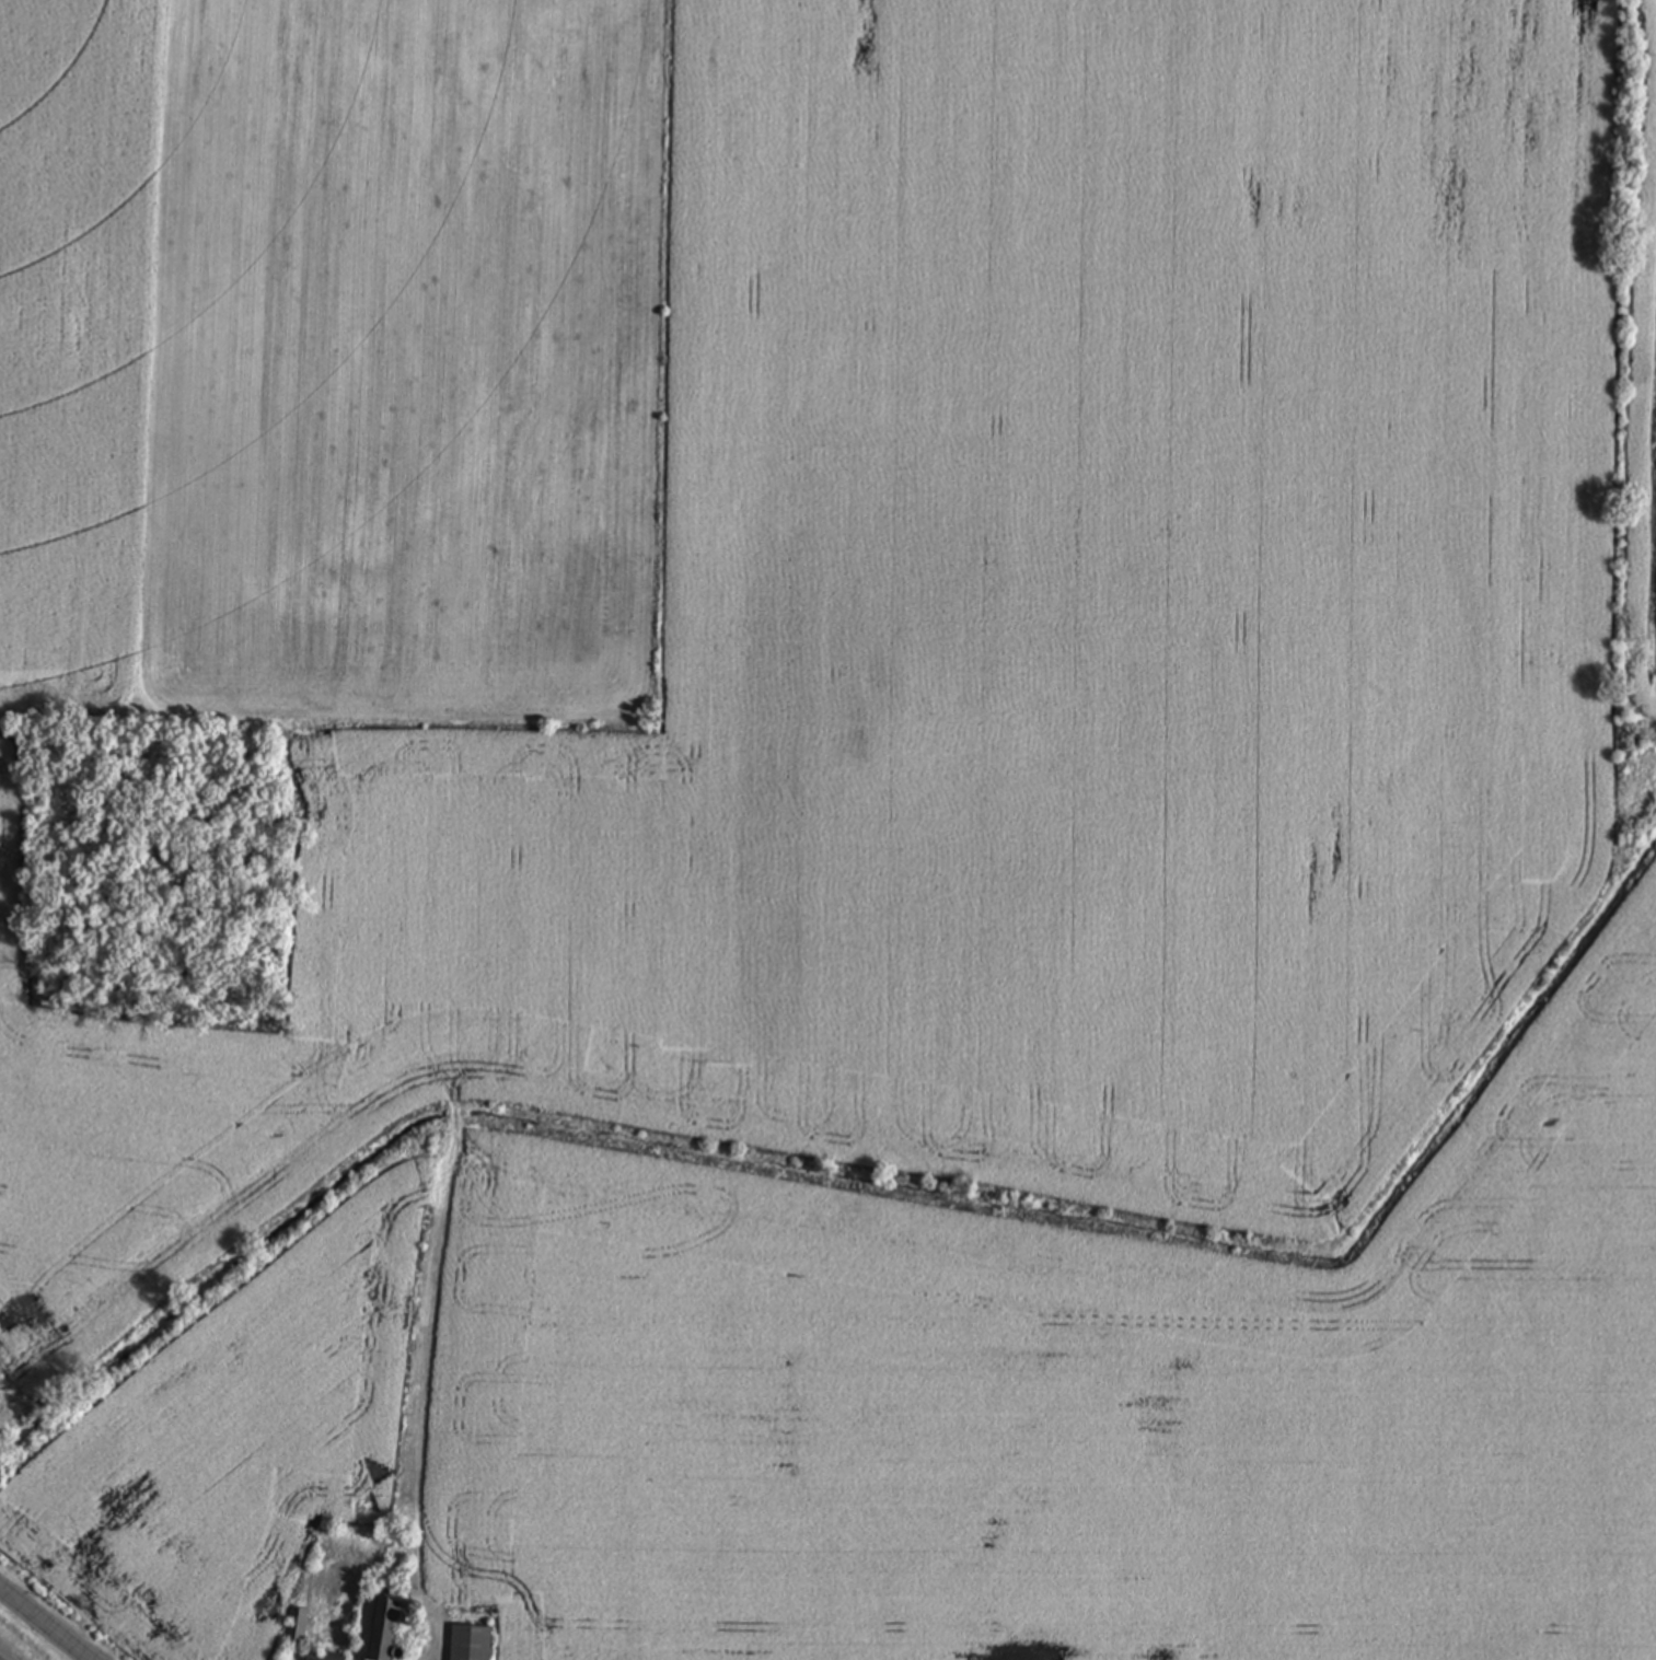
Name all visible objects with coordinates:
road: (45, 1624)
building: (299, 1628)
building: (381, 1629)
building: (473, 1644)
building: (326, 1656)

